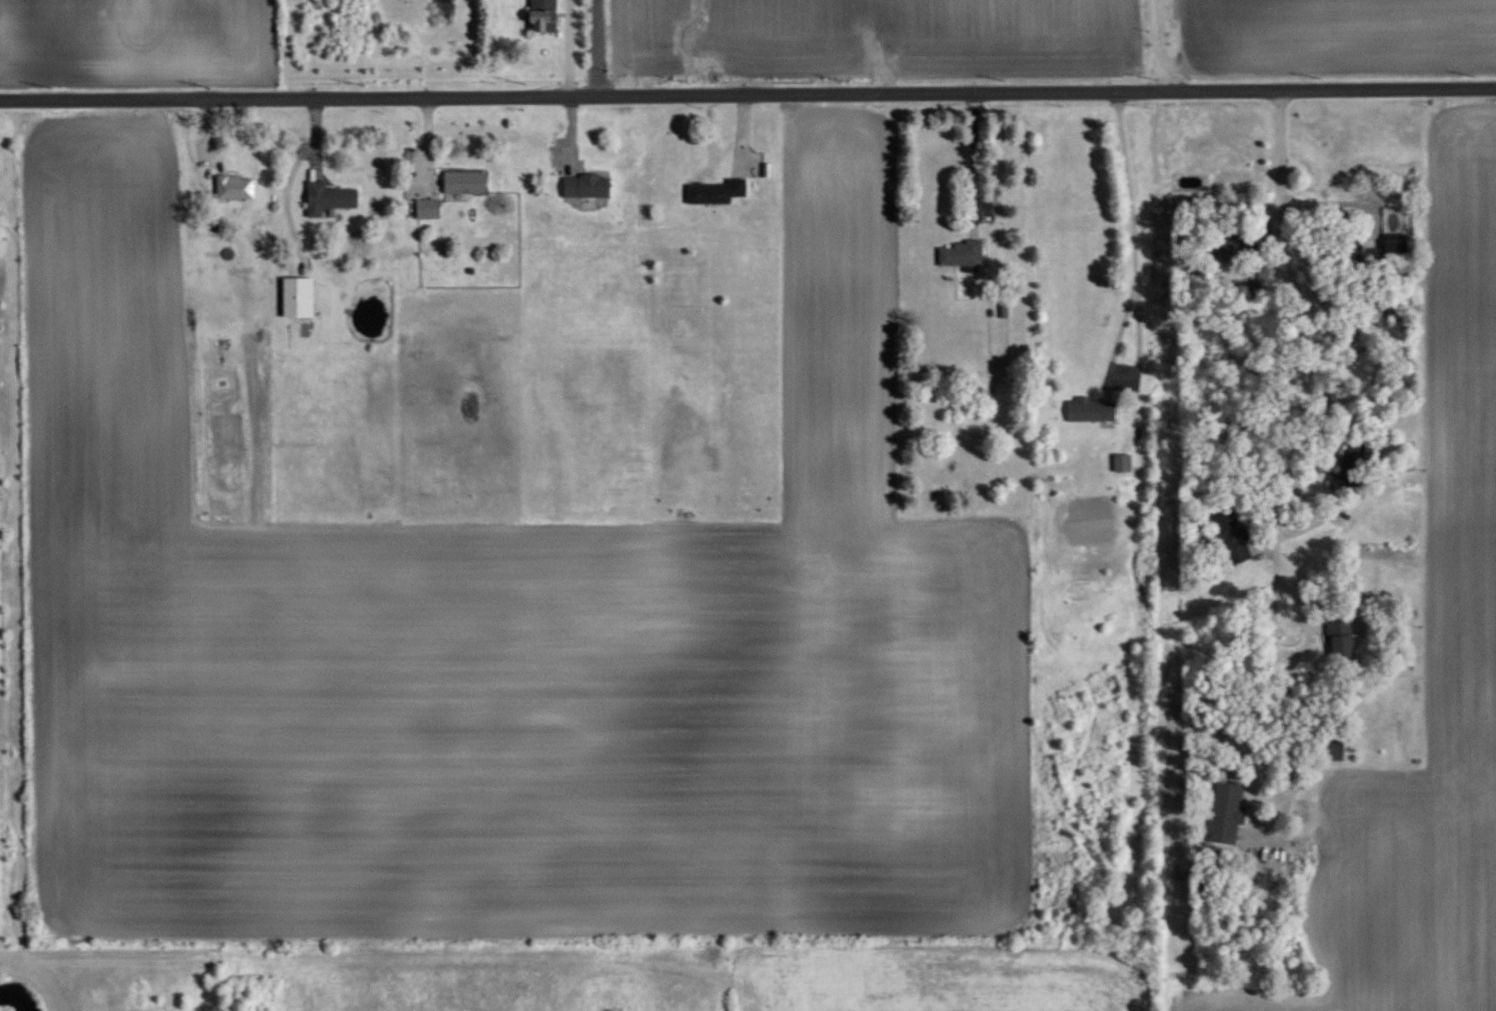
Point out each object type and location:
building: (543, 15)
road: (1166, 46)
road: (598, 47)
road: (748, 92)
building: (464, 180)
building: (1188, 181)
building: (586, 184)
building: (235, 186)
building: (716, 189)
building: (328, 196)
road: (1136, 228)
building: (1394, 243)
building: (962, 252)
building: (297, 296)
building: (1091, 408)
road: (1288, 421)
building: (1122, 462)
building: (1232, 537)
building: (1343, 636)
road: (1286, 798)
building: (1229, 800)

